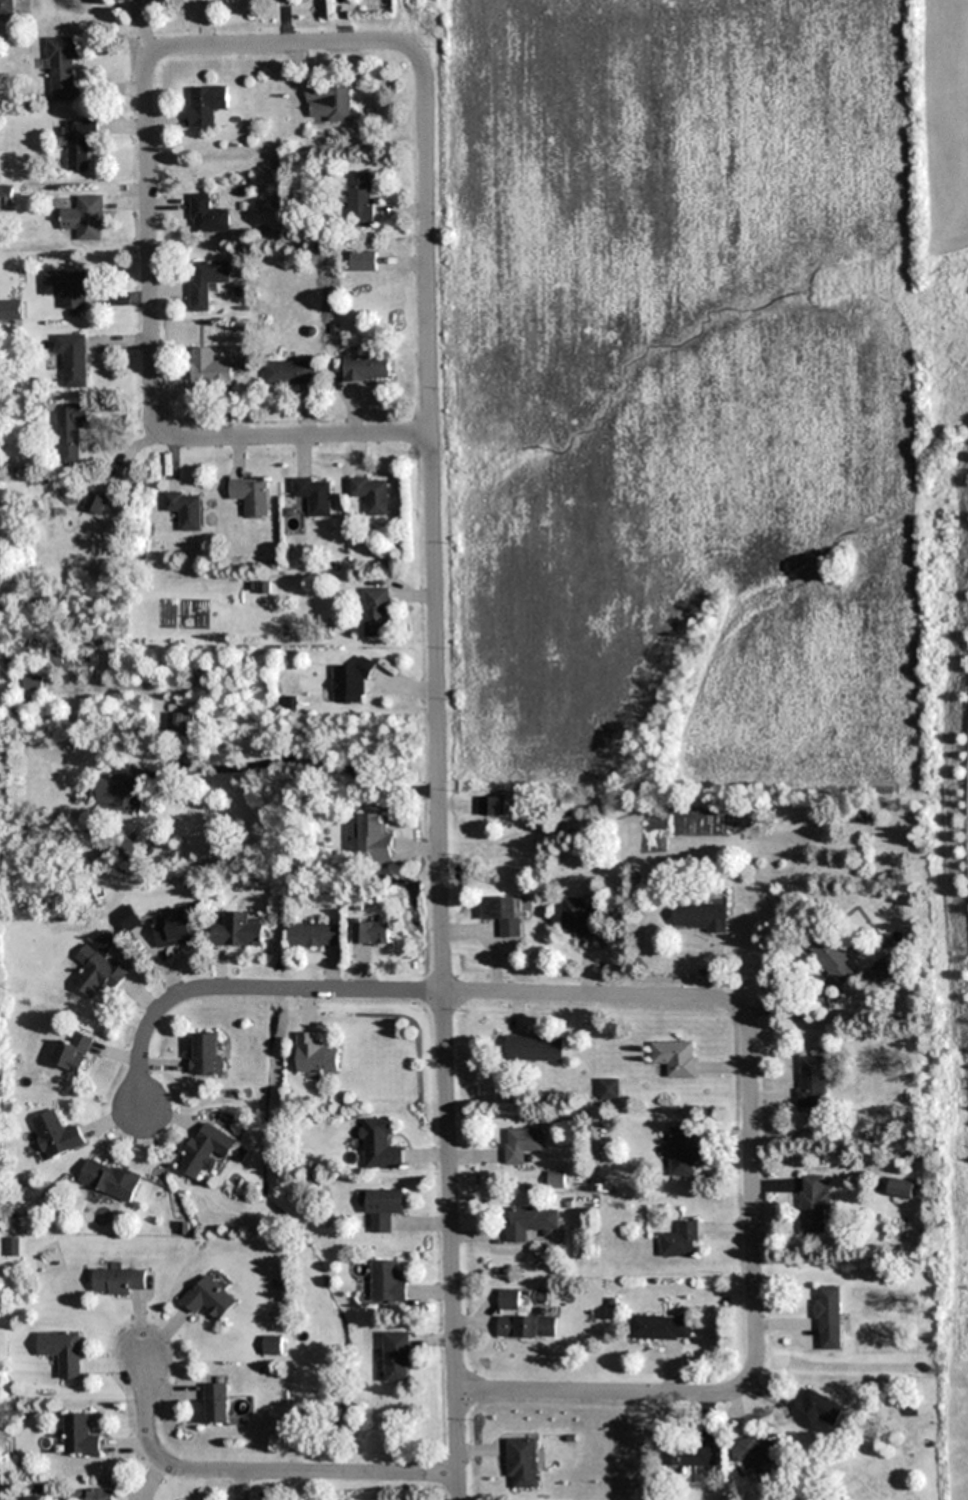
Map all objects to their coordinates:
building: (127, 0)
building: (7, 7)
road: (268, 45)
building: (63, 68)
building: (327, 103)
building: (205, 105)
building: (78, 142)
building: (359, 199)
building: (206, 215)
building: (84, 217)
road: (149, 258)
building: (362, 262)
building: (205, 282)
building: (65, 288)
building: (10, 311)
building: (72, 358)
building: (209, 368)
building: (366, 368)
building: (289, 373)
crop: (713, 428)
building: (69, 433)
road: (296, 435)
building: (315, 495)
building: (372, 495)
building: (252, 497)
building: (95, 503)
building: (186, 509)
building: (377, 612)
building: (33, 684)
building: (351, 684)
building: (178, 725)
road: (437, 774)
building: (120, 789)
building: (492, 806)
building: (744, 819)
building: (375, 839)
building: (506, 915)
building: (701, 917)
building: (578, 919)
building: (373, 930)
building: (174, 931)
building: (238, 931)
building: (315, 936)
building: (835, 959)
building: (98, 972)
building: (881, 973)
road: (242, 990)
road: (590, 996)
building: (535, 1048)
building: (73, 1052)
building: (206, 1054)
building: (317, 1055)
building: (676, 1058)
building: (813, 1081)
building: (611, 1089)
building: (55, 1134)
building: (523, 1144)
building: (381, 1145)
building: (206, 1150)
building: (685, 1152)
building: (557, 1179)
building: (109, 1181)
building: (901, 1190)
road: (753, 1196)
building: (815, 1205)
building: (385, 1209)
building: (531, 1222)
building: (682, 1240)
building: (12, 1247)
building: (120, 1281)
building: (389, 1282)
building: (210, 1298)
building: (510, 1299)
building: (829, 1310)
building: (528, 1327)
building: (662, 1328)
building: (272, 1345)
building: (62, 1351)
building: (398, 1356)
road: (601, 1392)
building: (217, 1403)
building: (817, 1409)
building: (79, 1436)
building: (759, 1453)
building: (690, 1455)
building: (524, 1464)
road: (255, 1474)
building: (93, 1494)

